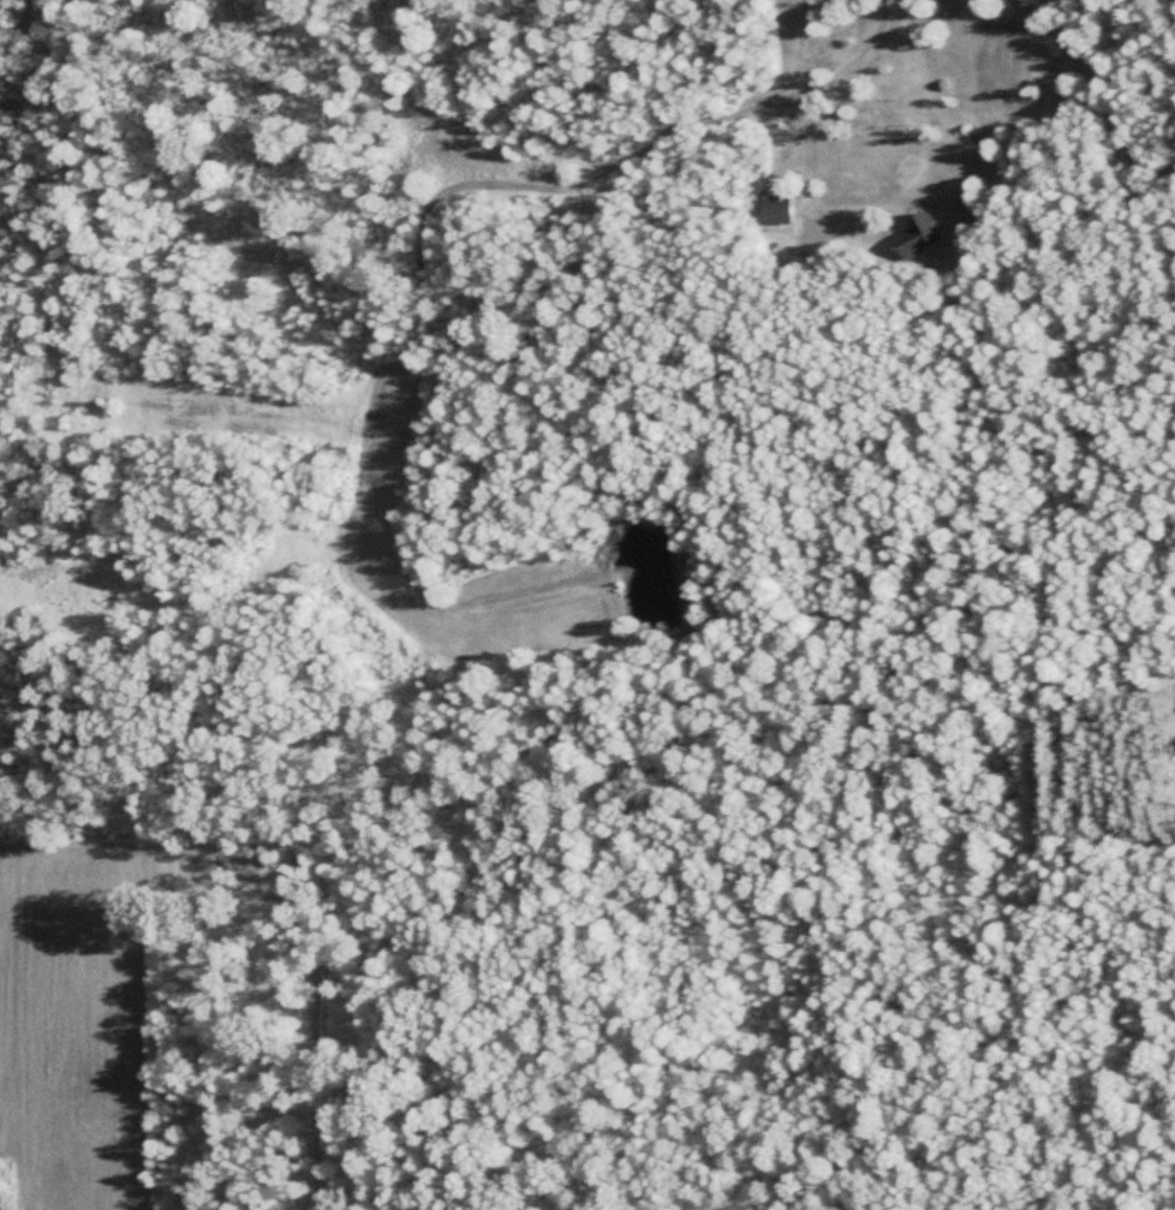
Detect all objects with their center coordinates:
road: (812, 125)
building: (774, 210)
building: (863, 210)

